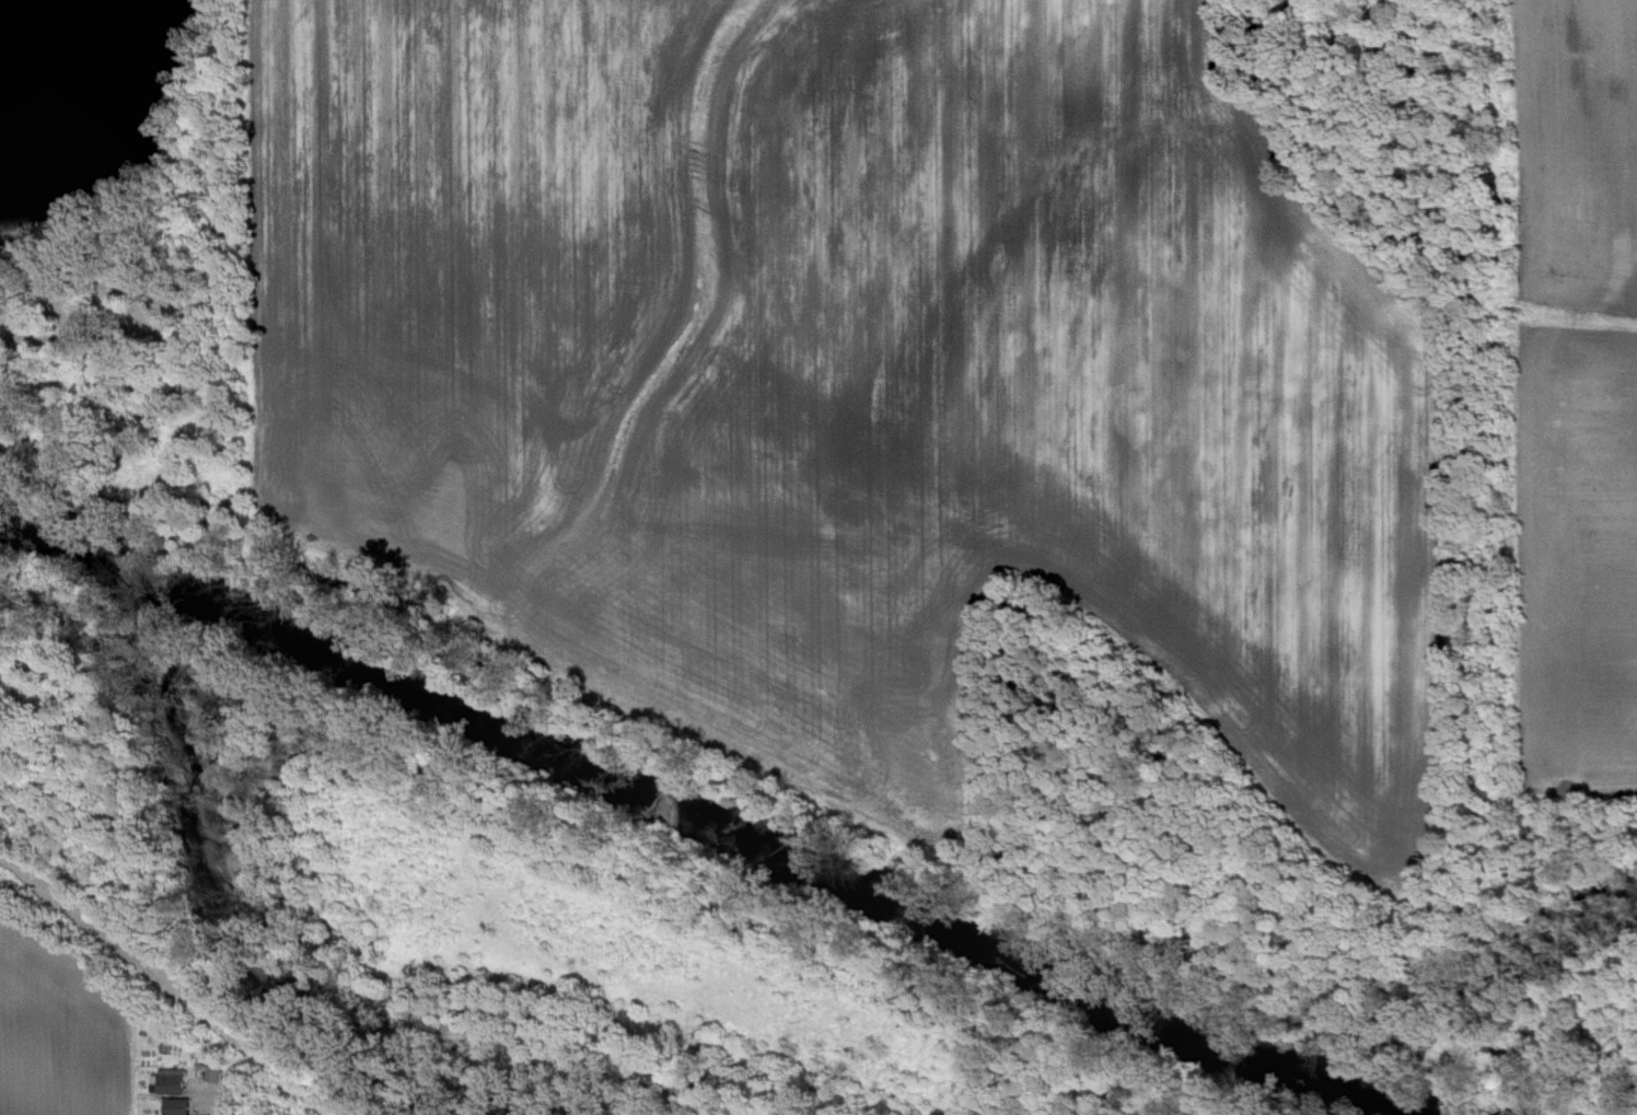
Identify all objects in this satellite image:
building: (167, 1080)
road: (219, 1096)
building: (174, 1105)

